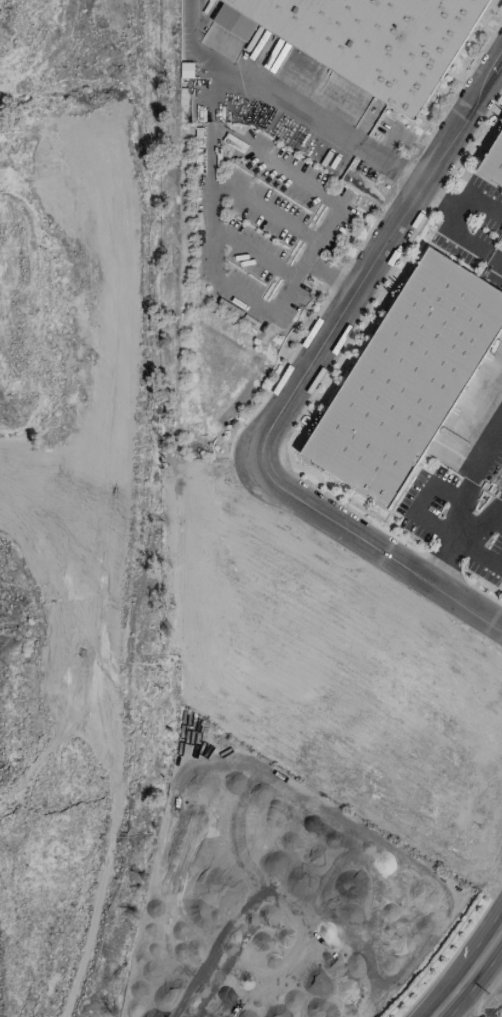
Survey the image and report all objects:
building: (365, 39)
building: (186, 70)
road: (267, 91)
road: (212, 144)
road: (382, 163)
building: (493, 164)
road: (459, 202)
road: (265, 208)
road: (466, 240)
road: (253, 255)
building: (407, 378)
road: (293, 383)
road: (463, 494)
quarry: (36, 729)
road: (487, 948)
road: (452, 993)
road: (452, 1011)

